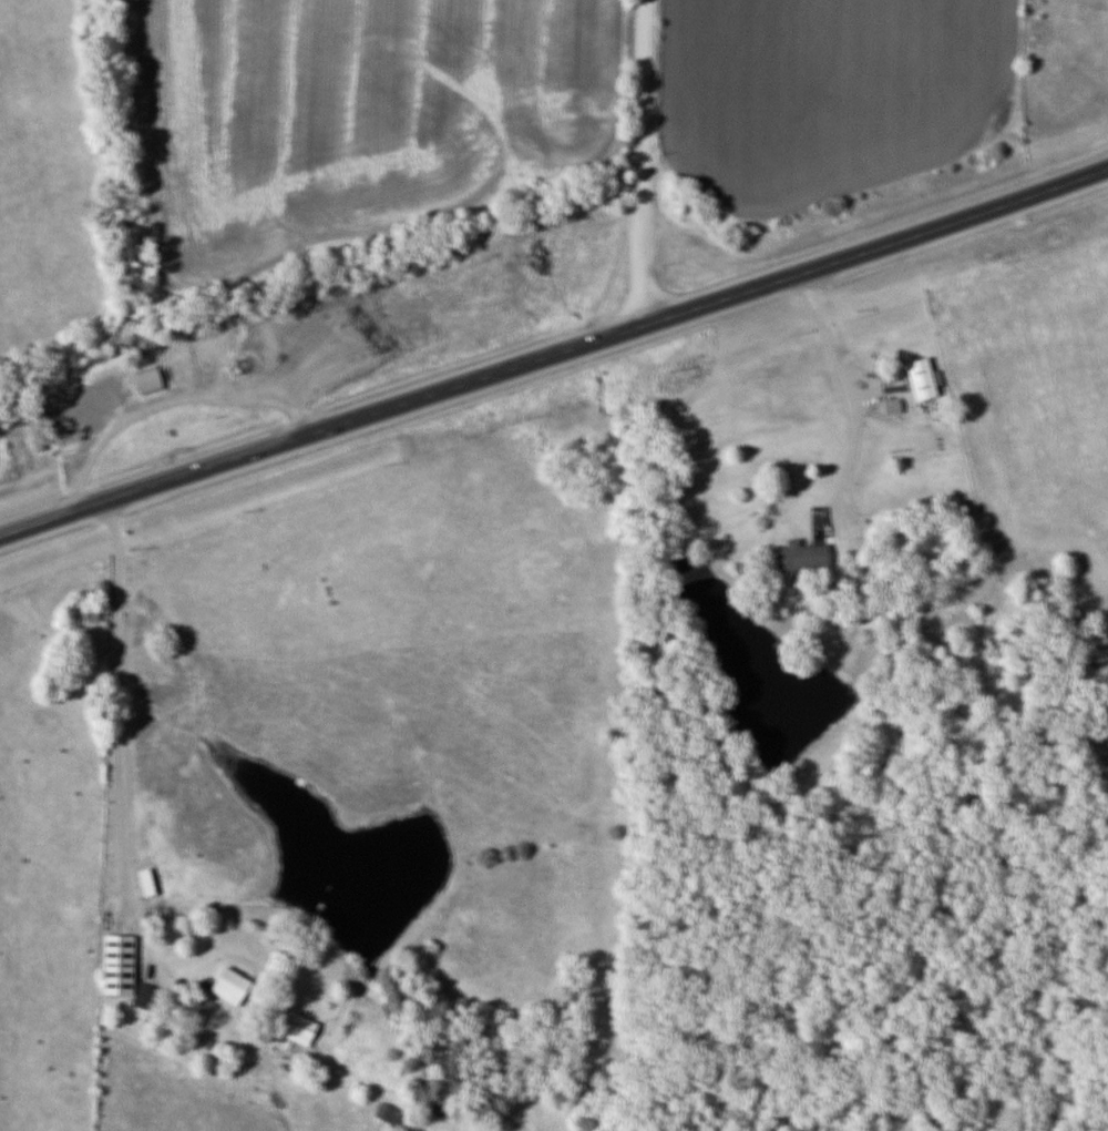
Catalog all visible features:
road: (648, 162)
road: (553, 355)
building: (151, 378)
building: (915, 378)
road: (837, 380)
building: (888, 406)
building: (11, 451)
building: (798, 557)
road: (111, 703)
building: (224, 987)
building: (380, 1117)

